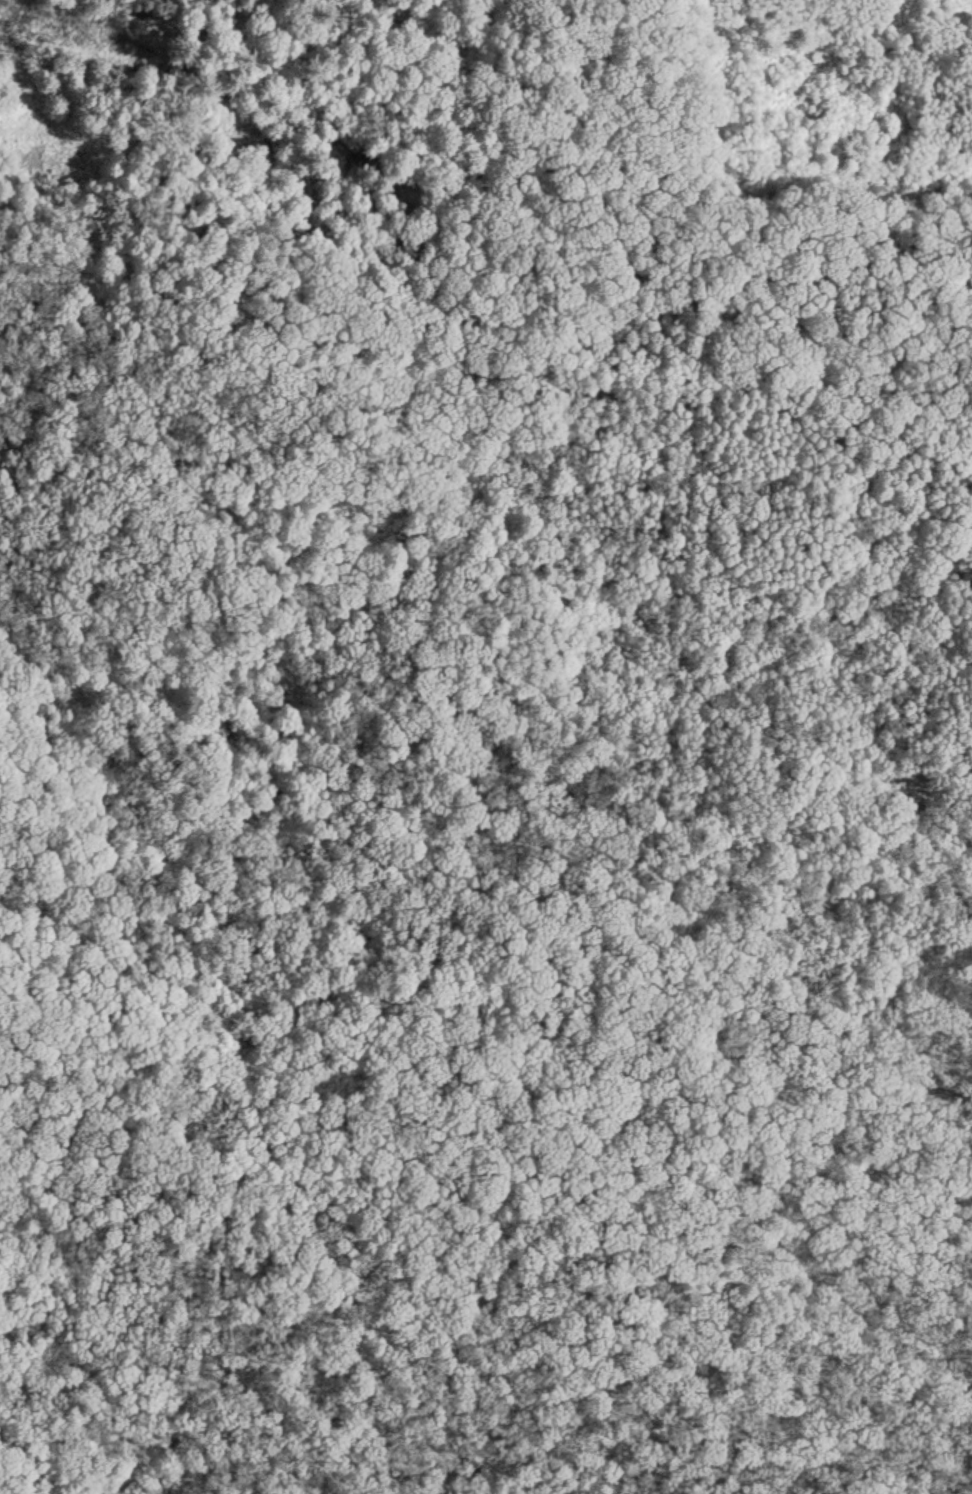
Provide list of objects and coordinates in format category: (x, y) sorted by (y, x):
road: (351, 192)
road: (741, 200)

